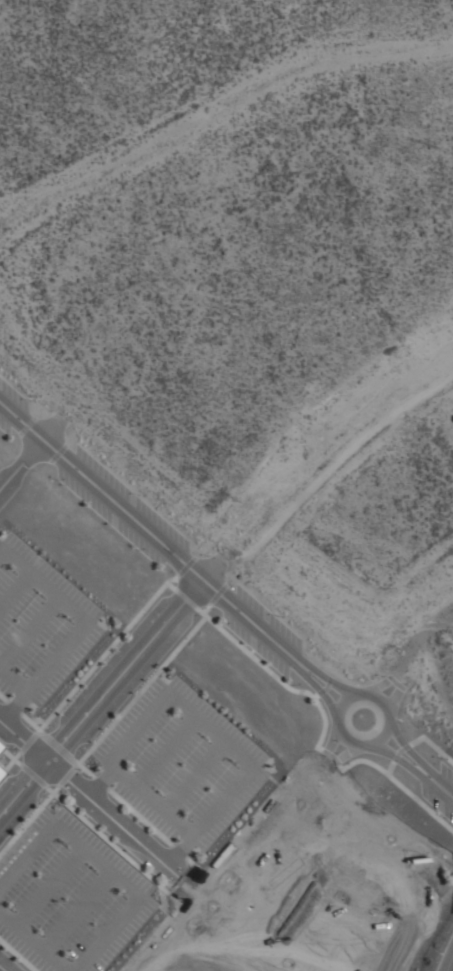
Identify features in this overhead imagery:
parking lot: (10, 406)
road: (26, 424)
road: (58, 452)
road: (21, 463)
parking lot: (122, 508)
road: (144, 527)
road: (0, 548)
road: (185, 566)
road: (45, 582)
road: (171, 584)
road: (15, 589)
road: (216, 593)
road: (185, 597)
road: (205, 608)
parking lot: (269, 617)
parking lot: (41, 624)
road: (30, 630)
parking lot: (256, 644)
road: (105, 652)
road: (58, 653)
road: (274, 675)
road: (323, 675)
road: (13, 676)
road: (390, 677)
road: (328, 679)
road: (395, 682)
road: (315, 684)
road: (111, 685)
road: (374, 685)
road: (400, 685)
road: (325, 687)
road: (139, 690)
road: (321, 691)
road: (315, 694)
road: (3, 697)
road: (391, 699)
road: (14, 704)
road: (13, 706)
road: (31, 722)
road: (339, 726)
road: (137, 727)
road: (209, 727)
road: (415, 740)
road: (28, 741)
road: (405, 746)
road: (319, 747)
road: (405, 747)
road: (57, 748)
road: (437, 749)
road: (164, 750)
road: (399, 750)
road: (325, 751)
road: (325, 753)
road: (10, 755)
road: (331, 755)
road: (395, 756)
road: (398, 757)
road: (335, 759)
road: (336, 759)
road: (10, 761)
parking lot: (180, 763)
road: (340, 766)
road: (389, 767)
road: (83, 768)
road: (32, 774)
road: (193, 774)
road: (67, 775)
street lamp: (84, 776)
road: (100, 781)
road: (100, 782)
road: (400, 785)
road: (441, 786)
road: (148, 797)
road: (221, 798)
road: (102, 810)
road: (139, 817)
road: (29, 818)
road: (106, 837)
parking lot: (275, 841)
road: (177, 848)
road: (178, 850)
road: (27, 858)
road: (97, 860)
road: (189, 860)
road: (227, 874)
road: (48, 885)
parking lot: (71, 895)
road: (76, 909)
road: (106, 934)
road: (35, 941)
parking lot: (188, 943)
road: (17, 955)
road: (449, 962)
road: (3, 968)

